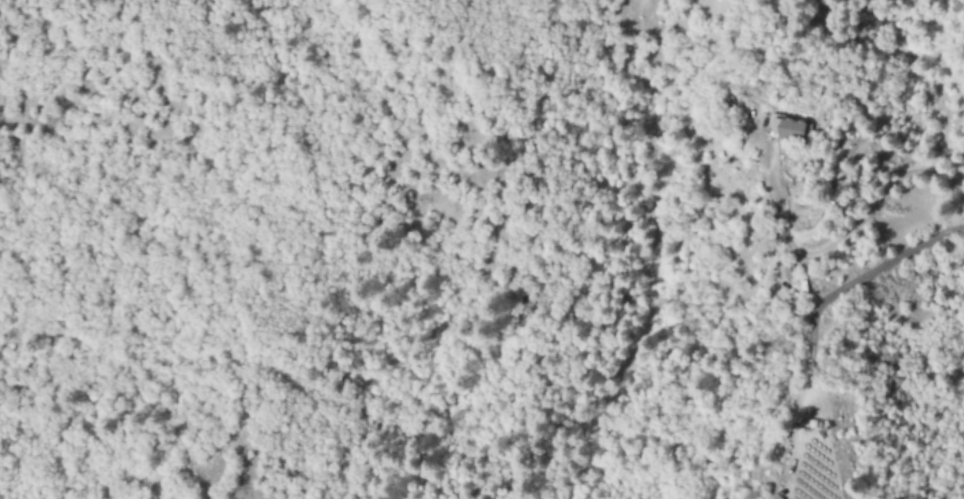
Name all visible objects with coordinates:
building: (794, 129)
building: (787, 273)

